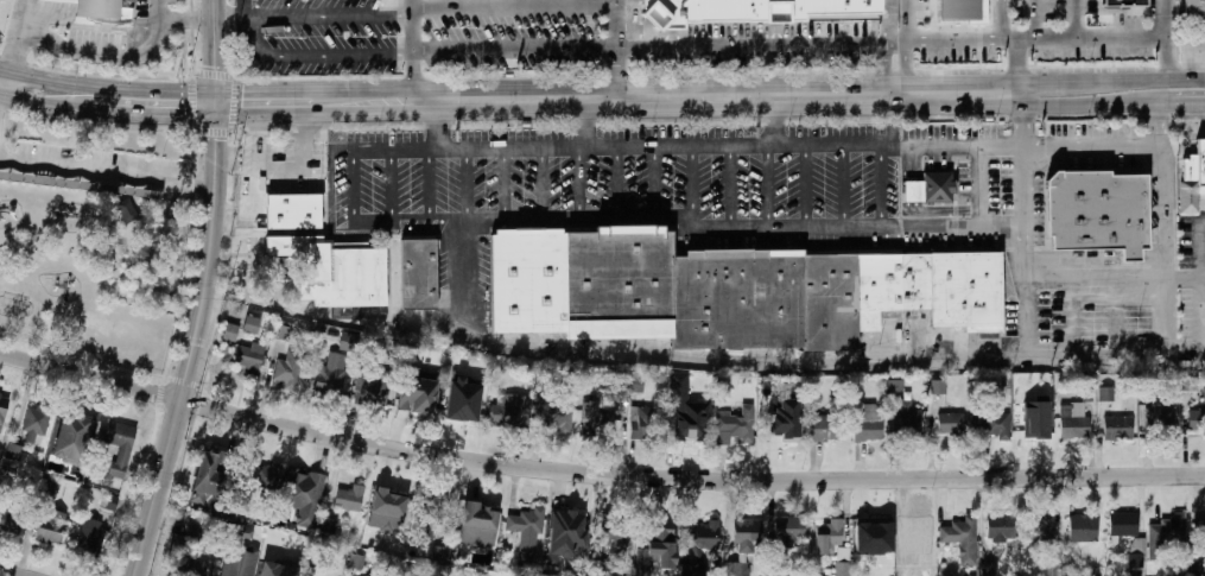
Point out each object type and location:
building: (58, 1)
building: (1123, 2)
road: (510, 7)
building: (1193, 8)
building: (741, 11)
building: (100, 12)
road: (316, 15)
building: (959, 15)
road: (227, 18)
road: (1076, 18)
road: (1030, 19)
road: (185, 20)
road: (883, 21)
road: (903, 21)
flagpole: (144, 29)
road: (20, 37)
road: (250, 37)
road: (1034, 38)
road: (1166, 38)
flagpole: (133, 40)
road: (759, 45)
road: (512, 49)
road: (614, 49)
road: (410, 51)
road: (330, 55)
road: (109, 56)
road: (903, 69)
road: (883, 70)
road: (2, 72)
road: (1150, 78)
road: (1078, 81)
road: (2, 84)
road: (97, 87)
road: (1038, 88)
road: (712, 97)
road: (204, 99)
road: (1038, 100)
road: (27, 101)
road: (379, 103)
road: (1165, 103)
road: (281, 105)
road: (1092, 105)
traffic signals: (217, 106)
road: (204, 110)
road: (122, 114)
road: (774, 120)
road: (584, 121)
road: (443, 124)
road: (1025, 131)
road: (305, 135)
road: (757, 144)
road: (258, 158)
building: (1194, 164)
road: (281, 169)
road: (107, 171)
road: (654, 182)
road: (693, 182)
road: (354, 183)
road: (582, 183)
road: (616, 183)
road: (981, 183)
road: (391, 184)
road: (430, 184)
road: (465, 184)
road: (505, 184)
road: (541, 184)
road: (843, 184)
road: (882, 184)
road: (806, 185)
building: (80, 186)
road: (732, 186)
road: (767, 186)
building: (936, 188)
building: (913, 192)
building: (1095, 210)
road: (234, 211)
building: (290, 211)
road: (524, 223)
road: (855, 227)
road: (1163, 228)
road: (1194, 243)
road: (1096, 254)
building: (1128, 254)
building: (334, 270)
building: (417, 274)
road: (1115, 278)
road: (1027, 289)
road: (205, 291)
building: (722, 291)
building: (250, 325)
building: (280, 330)
building: (228, 333)
building: (890, 333)
building: (348, 342)
building: (250, 357)
road: (779, 357)
building: (288, 369)
building: (329, 374)
building: (634, 382)
building: (1190, 382)
building: (894, 387)
building: (938, 387)
building: (372, 388)
building: (416, 391)
building: (1105, 392)
building: (463, 400)
building: (1, 409)
building: (509, 409)
building: (686, 409)
building: (554, 414)
building: (785, 419)
building: (1035, 419)
building: (594, 420)
building: (905, 420)
building: (1072, 420)
building: (1158, 420)
building: (1196, 420)
building: (640, 423)
building: (868, 423)
building: (949, 423)
building: (990, 423)
building: (33, 424)
building: (730, 424)
building: (823, 428)
building: (1116, 428)
building: (64, 436)
building: (118, 445)
building: (12, 452)
road: (596, 473)
building: (209, 476)
building: (264, 477)
building: (45, 489)
building: (305, 489)
building: (347, 498)
building: (387, 501)
building: (107, 502)
building: (480, 515)
building: (425, 519)
building: (8, 521)
building: (564, 524)
building: (1122, 524)
building: (328, 525)
building: (50, 526)
building: (1000, 527)
building: (1080, 527)
building: (1041, 528)
building: (191, 530)
building: (243, 531)
building: (957, 531)
building: (914, 532)
building: (746, 533)
building: (787, 533)
building: (871, 533)
building: (524, 534)
building: (1165, 536)
building: (88, 537)
building: (610, 537)
building: (829, 537)
building: (659, 539)
building: (699, 546)
building: (1136, 552)
building: (440, 553)
building: (842, 553)
building: (356, 561)
building: (237, 562)
building: (189, 566)
building: (643, 569)
building: (737, 569)
building: (842, 569)
building: (989, 569)
building: (1198, 569)
road: (14, 571)
building: (1048, 571)
building: (277, 572)
building: (359, 575)
building: (389, 575)

